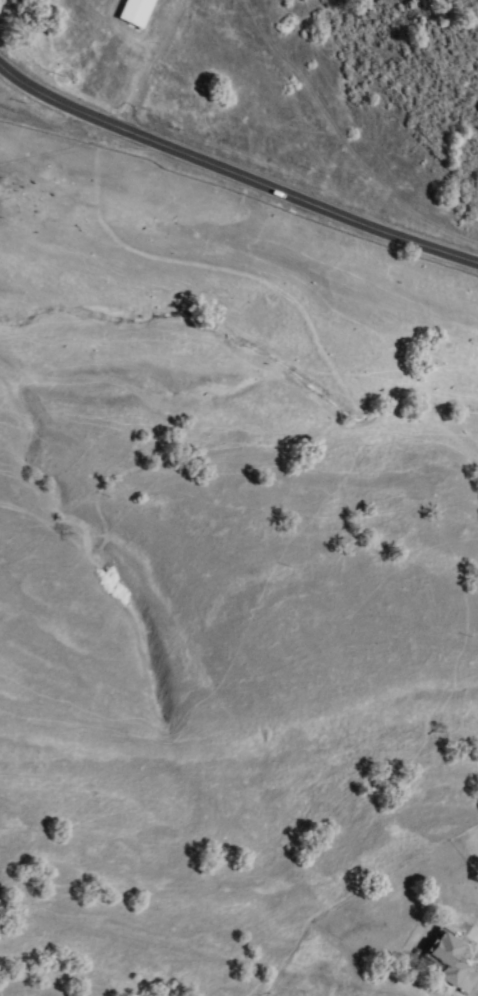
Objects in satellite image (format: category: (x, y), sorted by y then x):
building: (136, 11)
road: (234, 177)
building: (447, 958)
road: (477, 992)

